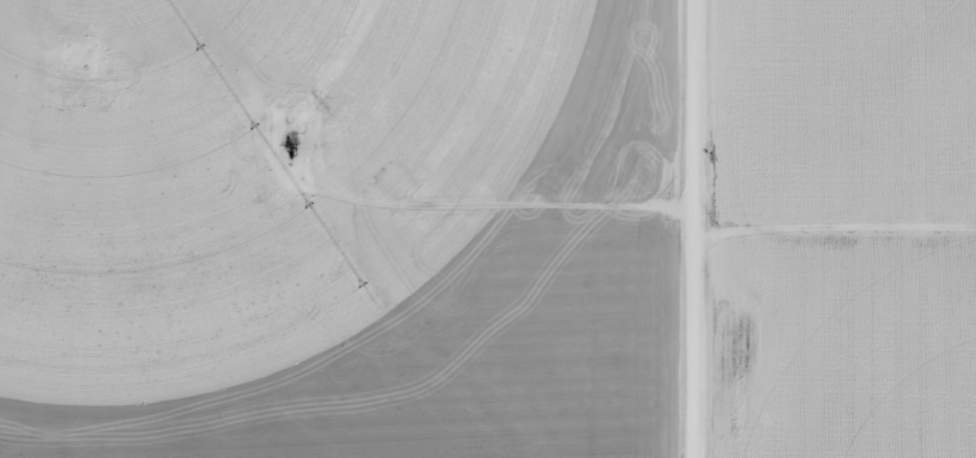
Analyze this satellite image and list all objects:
petroleum well: (292, 148)
road: (717, 229)
road: (847, 245)

